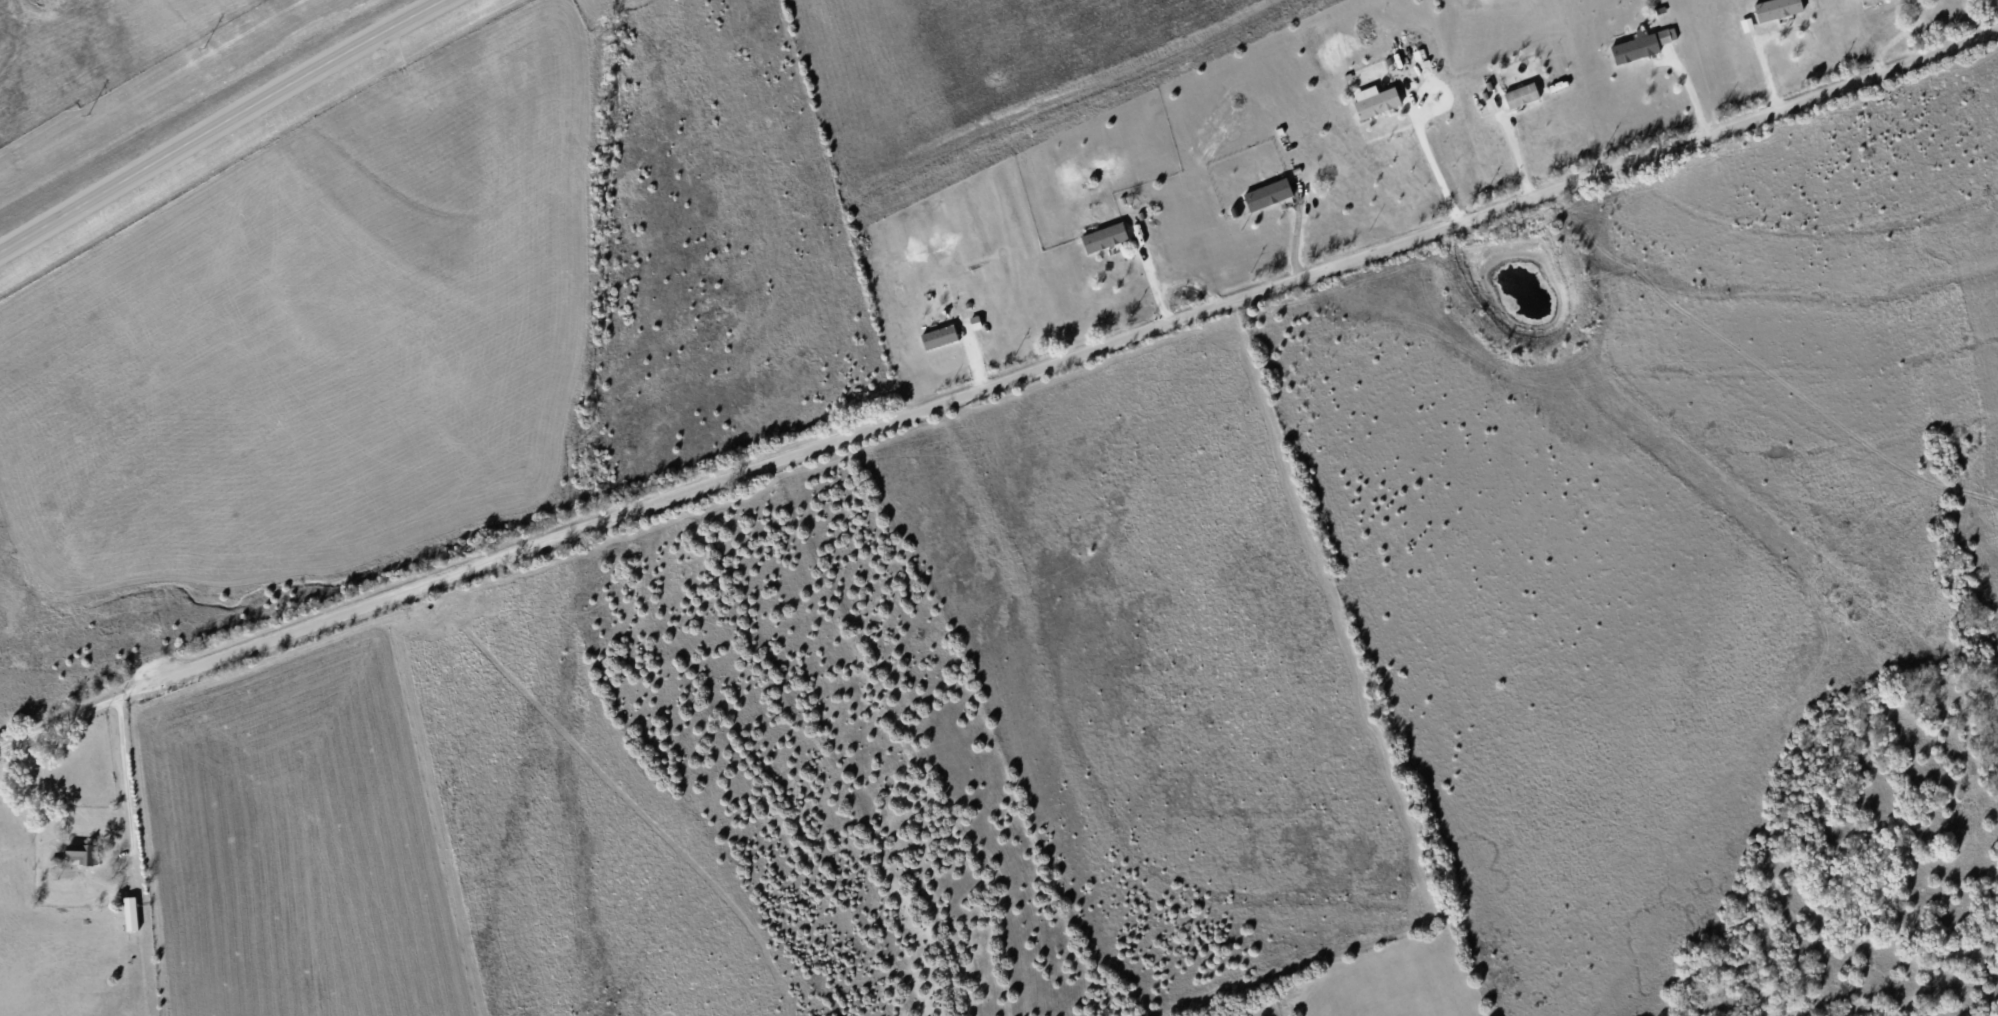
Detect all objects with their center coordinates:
building: (1776, 8)
park: (1987, 9)
building: (1666, 35)
building: (1635, 48)
building: (1521, 95)
building: (1375, 101)
road: (227, 124)
road: (1516, 148)
road: (1435, 165)
building: (1268, 194)
building: (1105, 237)
building: (939, 336)
road: (1056, 361)
road: (58, 722)
road: (126, 770)
building: (83, 853)
building: (131, 913)

